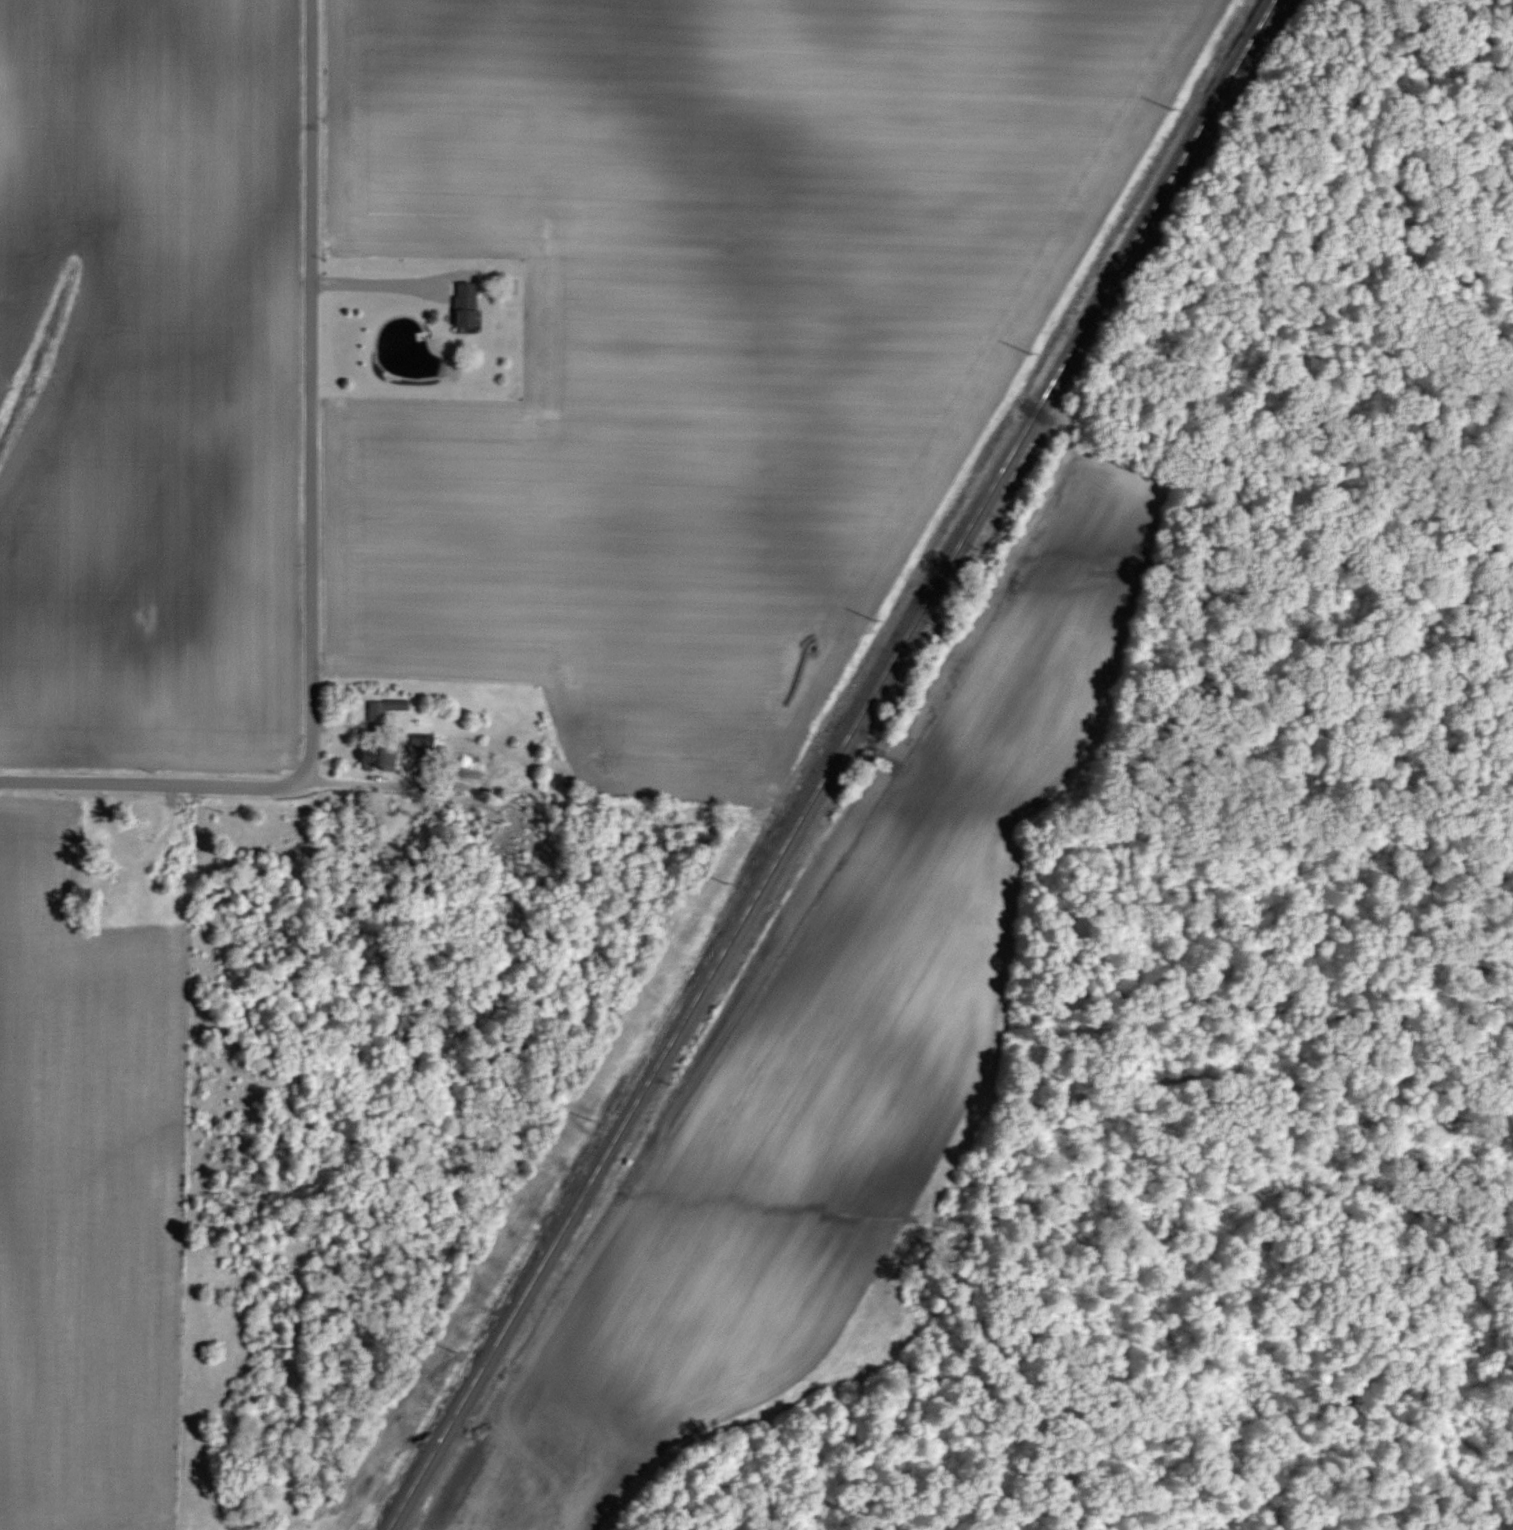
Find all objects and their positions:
road: (391, 289)
building: (470, 303)
road: (306, 395)
railway: (834, 764)
road: (154, 787)
road: (373, 788)

